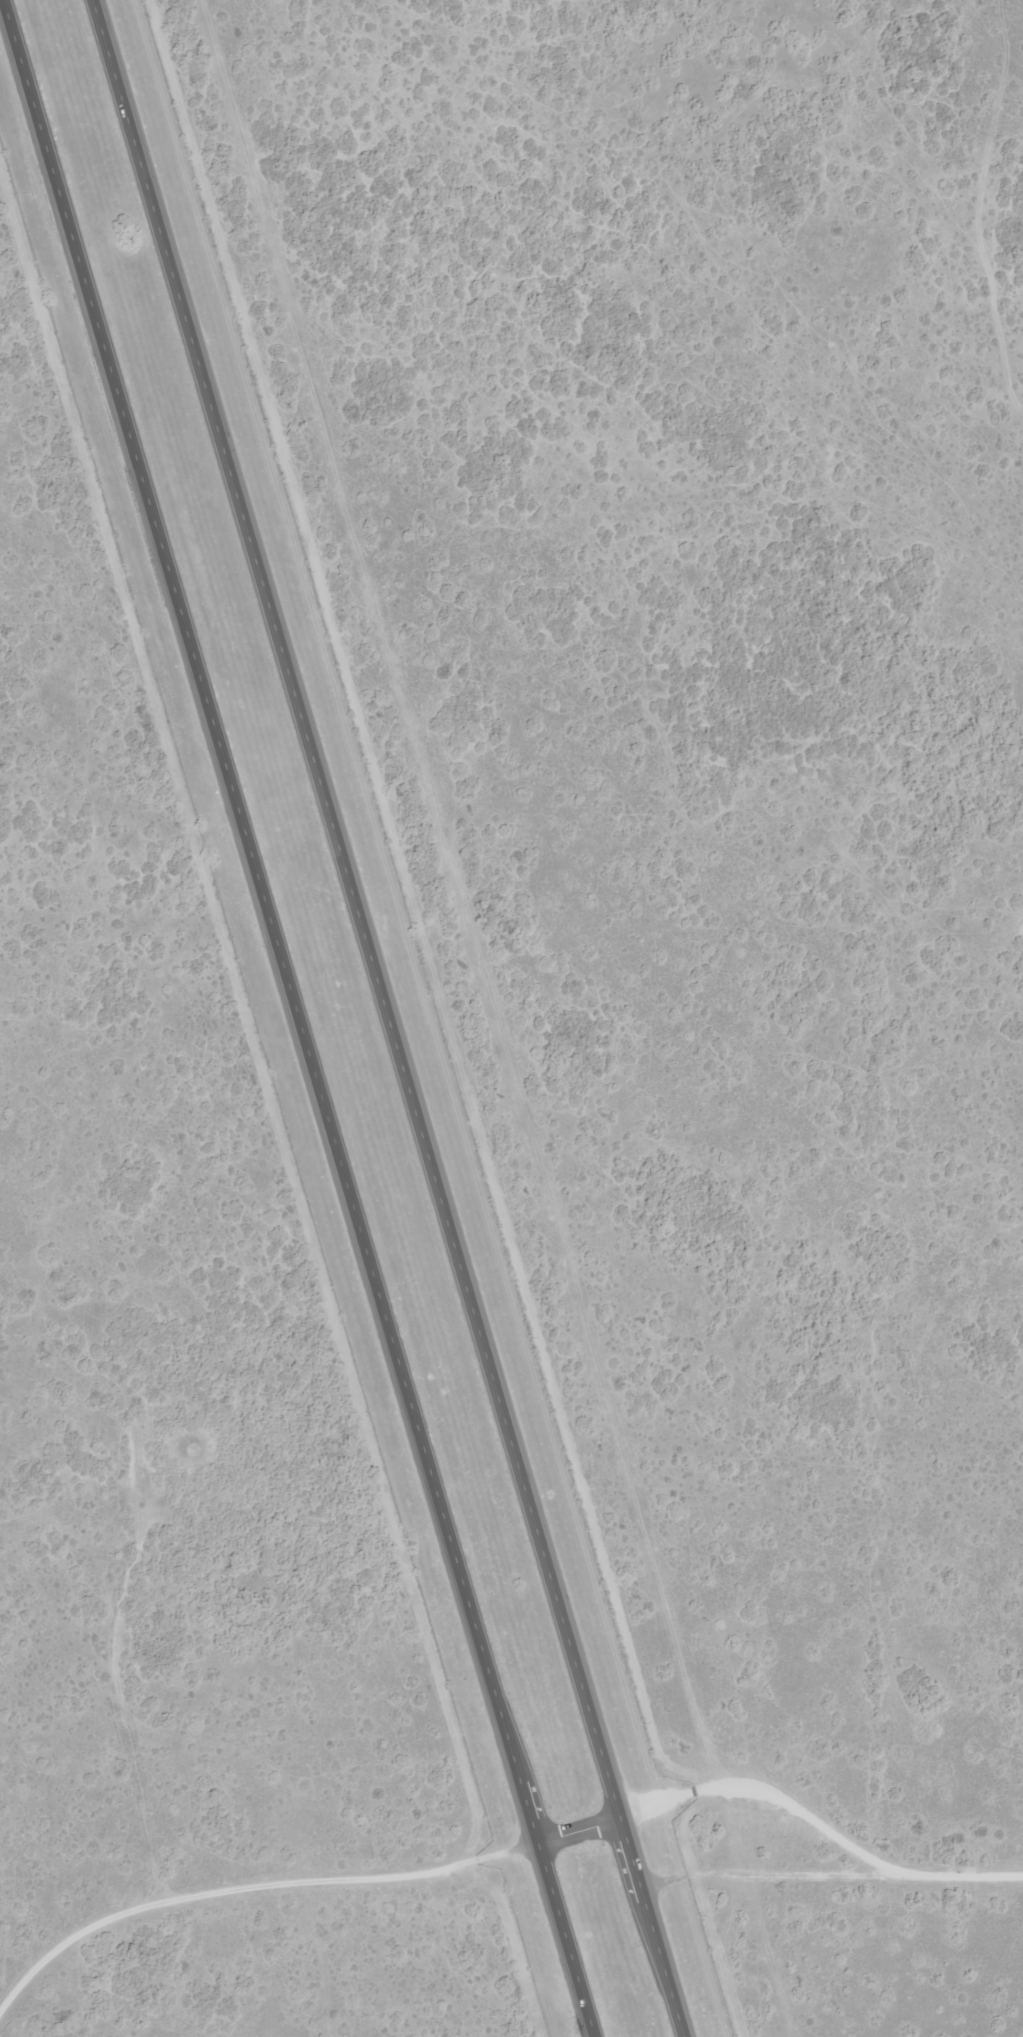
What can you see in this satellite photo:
road: (301, 1018)
road: (393, 1018)
road: (120, 1698)
road: (446, 1865)
road: (956, 1884)

